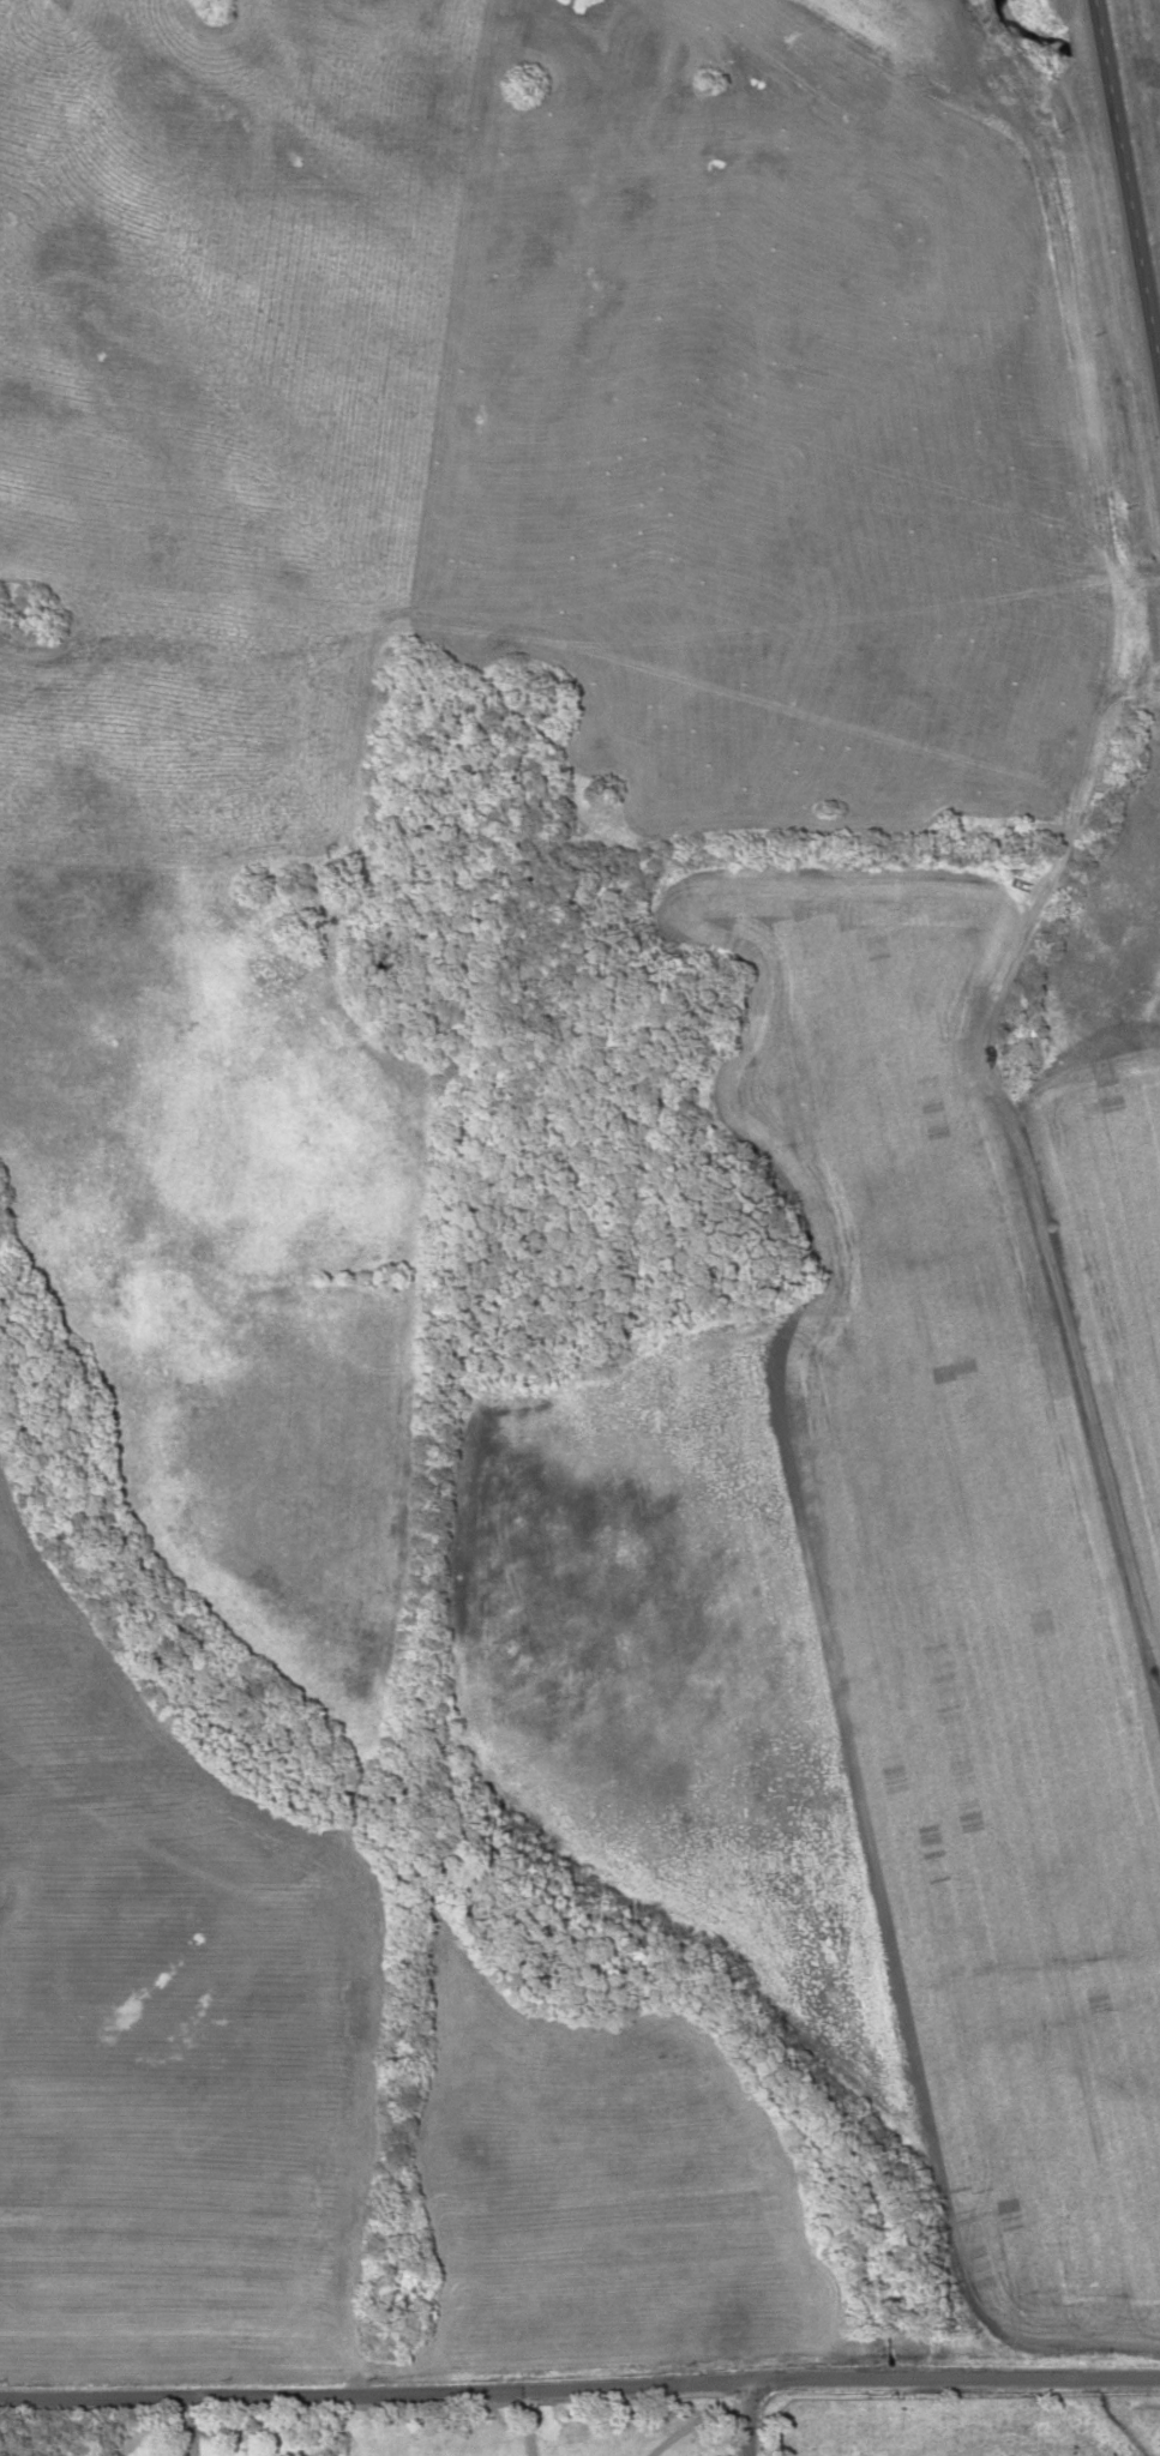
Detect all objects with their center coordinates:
road: (1126, 192)
road: (581, 771)
road: (1038, 1258)
road: (579, 2379)
road: (749, 2418)

